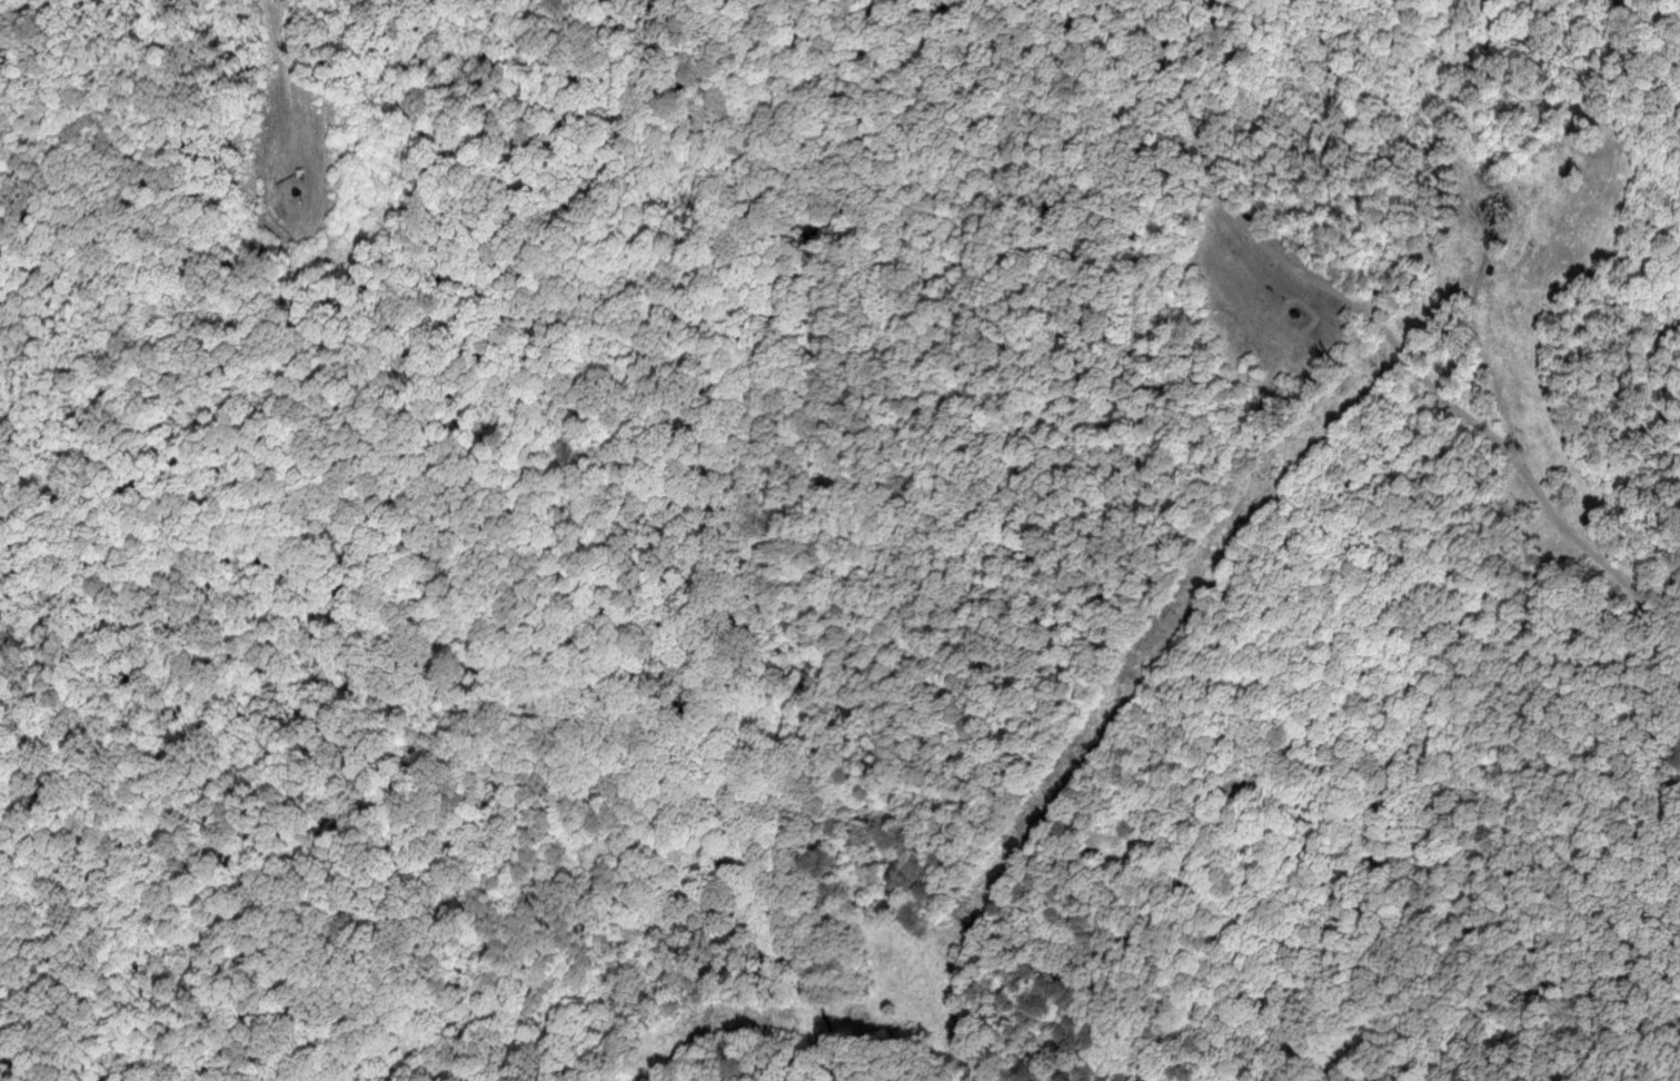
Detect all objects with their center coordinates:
building: (1493, 204)
road: (1414, 344)

